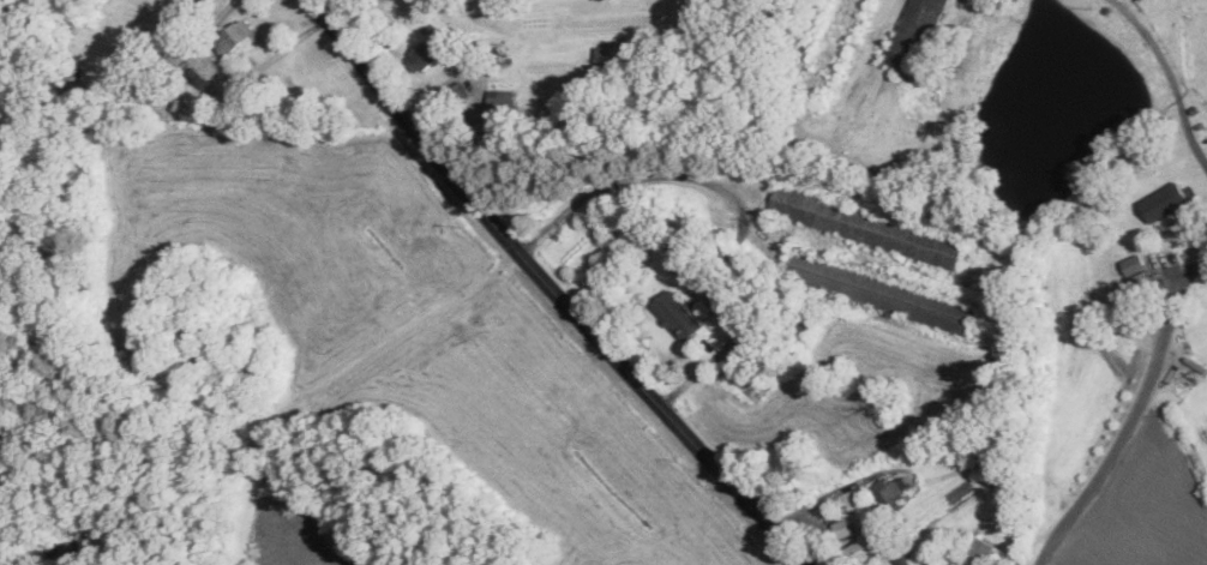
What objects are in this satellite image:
building: (914, 31)
building: (234, 36)
road: (1155, 52)
building: (422, 55)
building: (612, 56)
road: (238, 74)
building: (499, 101)
road: (1193, 138)
building: (1166, 200)
road: (731, 204)
building: (1135, 263)
road: (552, 289)
building: (679, 314)
road: (1131, 413)
building: (890, 488)
building: (861, 549)
building: (981, 551)

